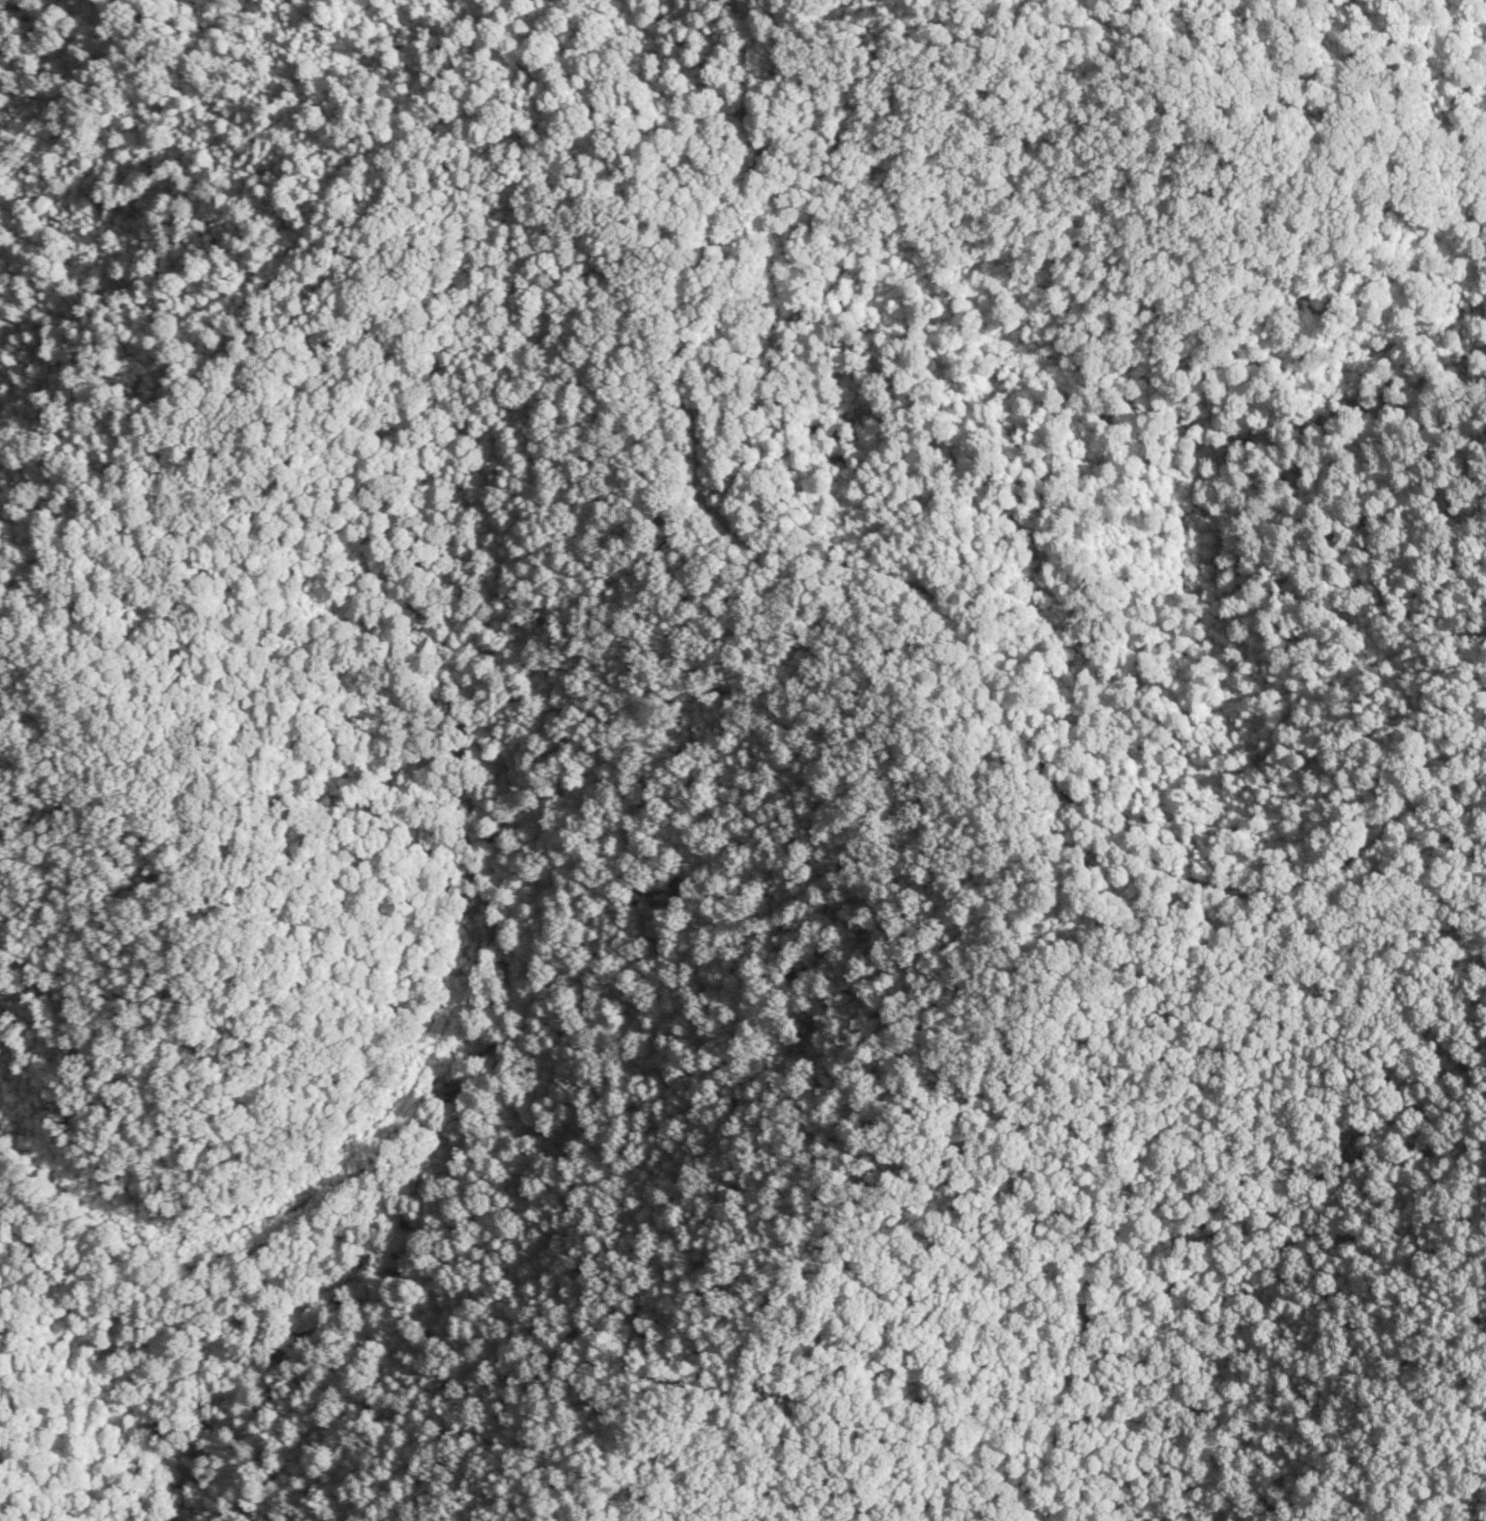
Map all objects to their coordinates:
road: (891, 592)
quarry: (21, 766)

